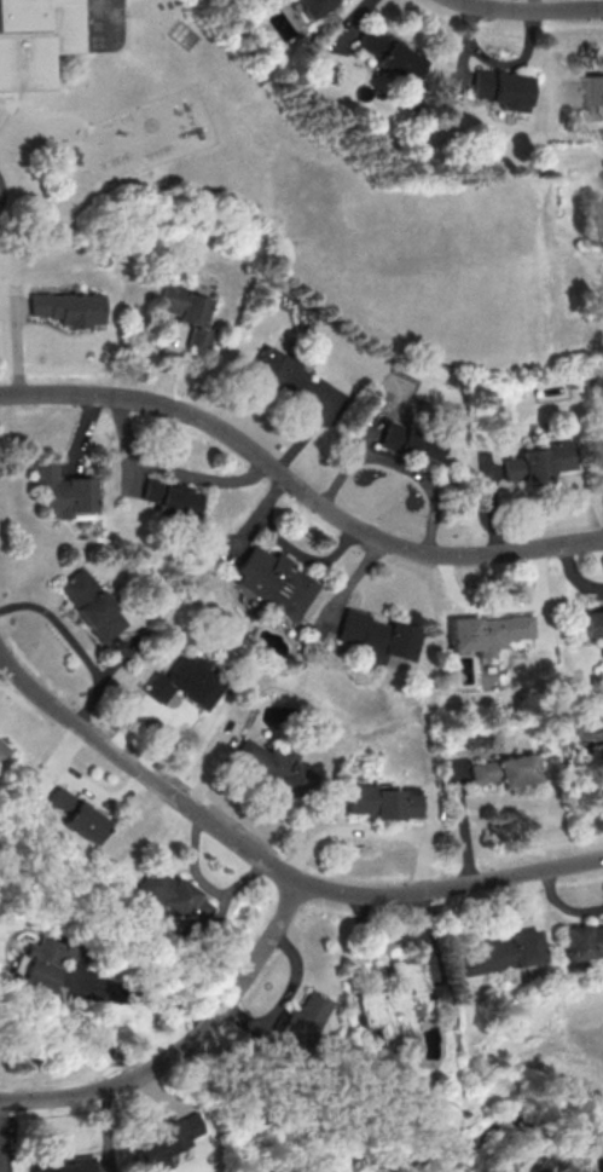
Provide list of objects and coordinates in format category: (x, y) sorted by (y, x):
building: (301, 6)
road: (528, 10)
building: (29, 39)
building: (378, 54)
building: (491, 88)
road: (46, 90)
building: (588, 94)
road: (5, 99)
road: (40, 112)
building: (60, 307)
building: (179, 312)
building: (276, 376)
building: (602, 440)
building: (401, 441)
building: (532, 461)
building: (54, 490)
road: (296, 491)
building: (166, 497)
building: (269, 582)
building: (85, 605)
building: (591, 627)
building: (483, 633)
building: (375, 636)
building: (181, 682)
building: (585, 721)
building: (0, 746)
building: (277, 768)
building: (452, 769)
building: (503, 770)
building: (383, 802)
building: (71, 814)
road: (269, 862)
building: (172, 896)
building: (582, 940)
building: (501, 953)
building: (39, 964)
road: (145, 997)
building: (396, 1008)
building: (302, 1020)
river: (59, 1044)
road: (186, 1044)
river: (150, 1074)
building: (172, 1142)
building: (75, 1165)
river: (400, 1166)

